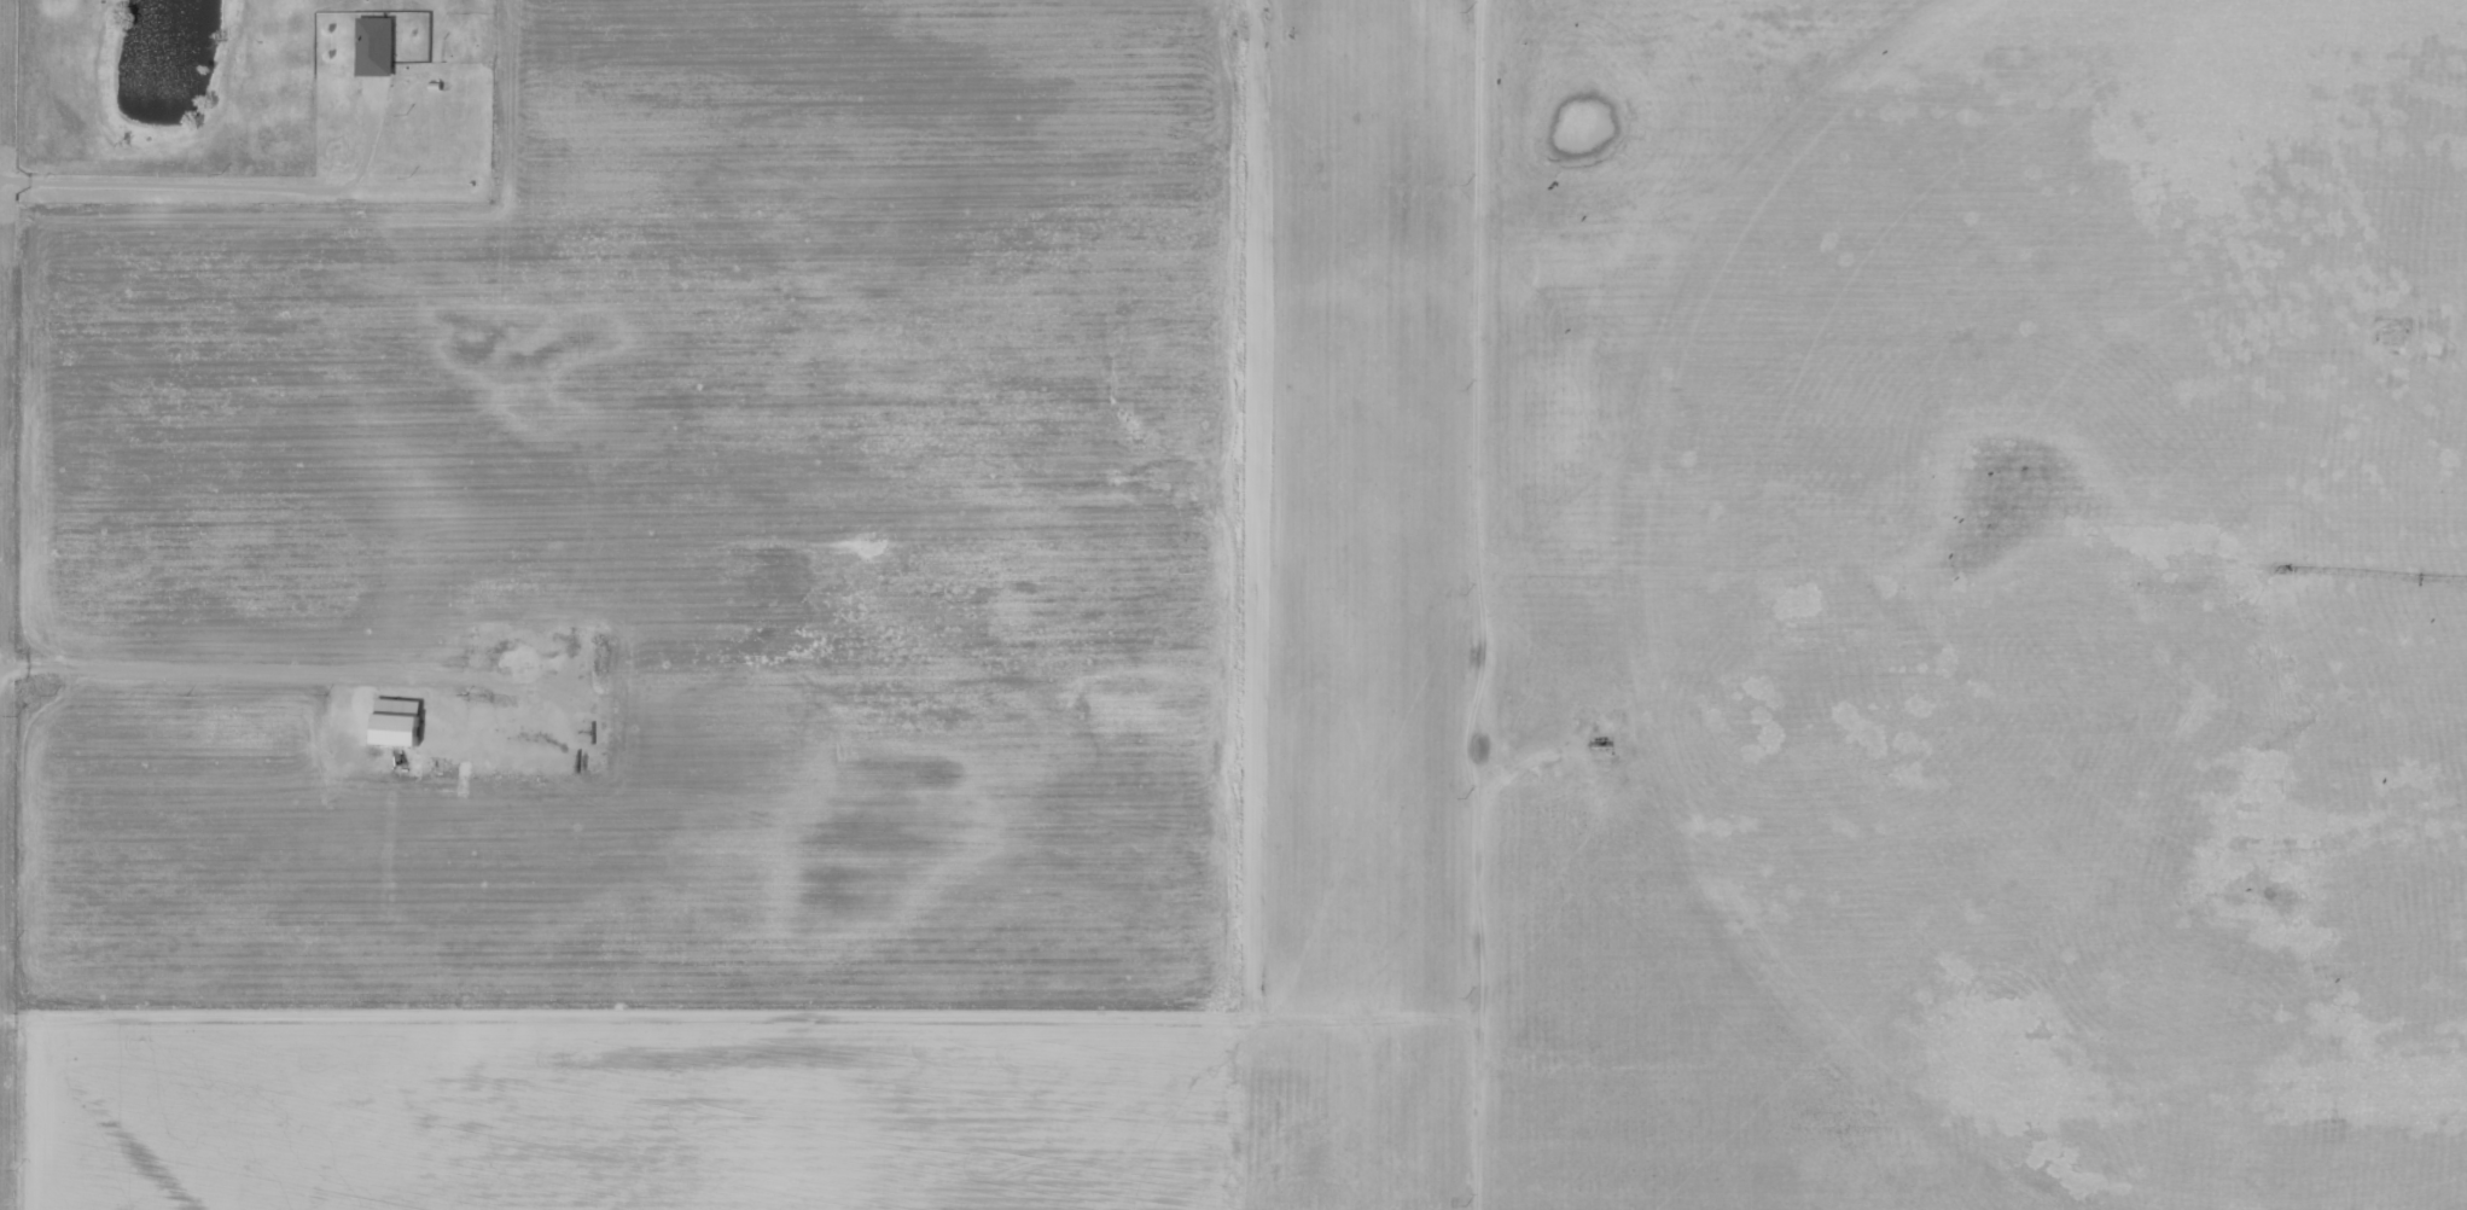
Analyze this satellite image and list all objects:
building: (373, 46)
building: (263, 139)
road: (1460, 605)
building: (398, 721)

